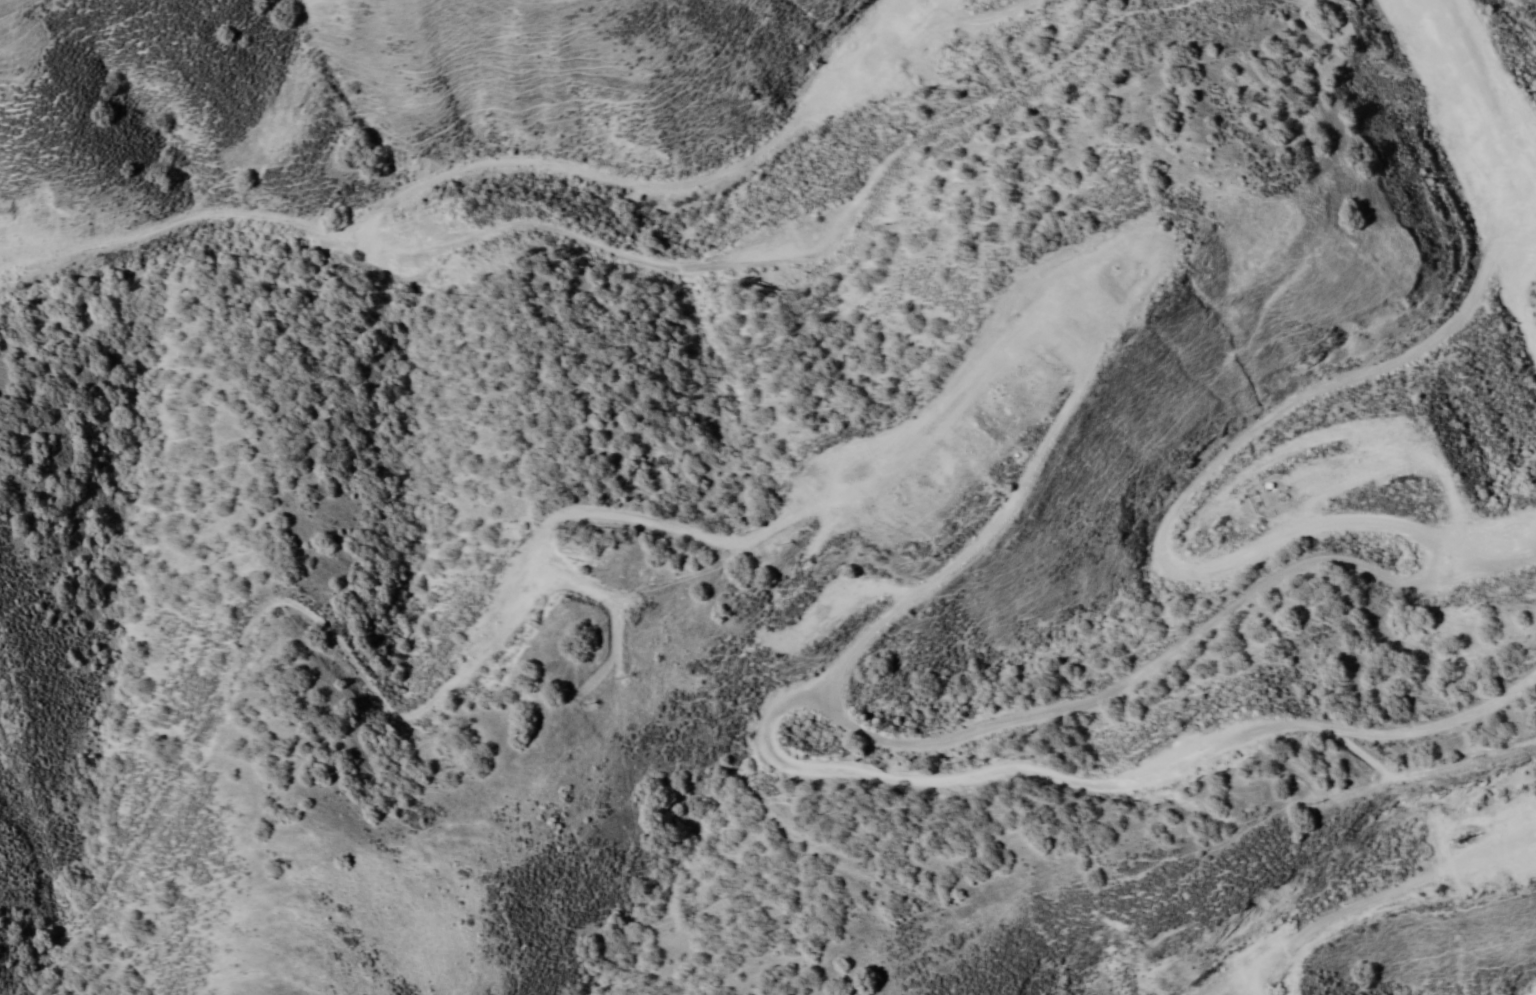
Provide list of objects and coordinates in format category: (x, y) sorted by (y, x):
road: (1520, 29)
road: (1447, 115)
road: (1045, 299)
road: (536, 300)
road: (1162, 498)
road: (1076, 696)
road: (1380, 909)
road: (1506, 991)

